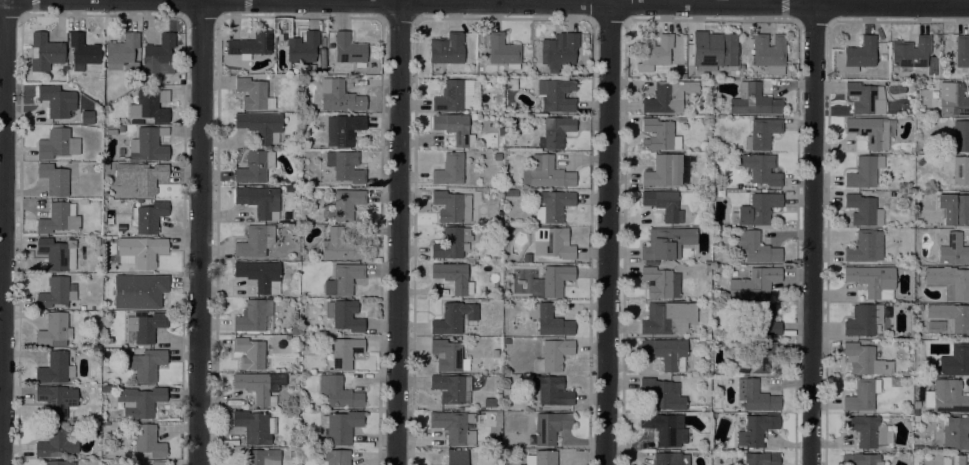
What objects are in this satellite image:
road: (197, 0)
road: (542, 3)
building: (584, 37)
building: (250, 44)
building: (302, 47)
building: (446, 49)
building: (348, 50)
building: (558, 50)
building: (655, 50)
building: (713, 50)
building: (501, 51)
building: (962, 51)
building: (44, 52)
building: (82, 52)
building: (122, 53)
building: (769, 53)
building: (910, 53)
building: (859, 54)
building: (158, 56)
building: (63, 70)
building: (512, 84)
building: (253, 94)
building: (556, 95)
building: (457, 96)
building: (667, 96)
building: (339, 97)
building: (865, 99)
building: (952, 100)
building: (56, 101)
building: (753, 101)
building: (150, 105)
building: (471, 112)
building: (87, 117)
building: (473, 117)
building: (260, 126)
building: (454, 129)
building: (343, 130)
building: (500, 131)
building: (871, 131)
building: (111, 132)
building: (555, 132)
building: (762, 134)
building: (658, 135)
building: (958, 138)
building: (57, 144)
building: (148, 145)
building: (920, 162)
building: (345, 166)
building: (106, 167)
building: (255, 167)
building: (760, 169)
building: (957, 169)
building: (449, 170)
building: (663, 171)
building: (864, 172)
building: (325, 173)
building: (546, 174)
building: (140, 177)
building: (53, 179)
building: (469, 192)
building: (510, 193)
building: (259, 201)
building: (346, 204)
building: (552, 205)
building: (663, 205)
building: (449, 206)
building: (953, 209)
building: (756, 210)
building: (863, 210)
building: (148, 217)
building: (58, 219)
building: (286, 221)
building: (120, 228)
road: (5, 232)
road: (397, 232)
road: (812, 232)
road: (202, 233)
road: (607, 234)
building: (106, 240)
building: (96, 241)
building: (255, 241)
building: (451, 243)
building: (552, 243)
building: (666, 243)
building: (338, 246)
building: (865, 247)
building: (756, 248)
building: (952, 249)
building: (140, 251)
building: (57, 254)
building: (526, 258)
building: (733, 273)
building: (260, 276)
building: (453, 277)
building: (343, 279)
building: (555, 280)
building: (871, 280)
building: (949, 282)
building: (660, 283)
building: (753, 284)
building: (138, 291)
building: (56, 293)
building: (713, 298)
building: (344, 315)
building: (253, 316)
building: (950, 317)
building: (453, 318)
building: (668, 318)
building: (863, 320)
building: (549, 321)
building: (759, 321)
building: (935, 326)
building: (144, 328)
building: (294, 330)
building: (54, 331)
building: (506, 341)
building: (249, 353)
building: (666, 353)
building: (341, 354)
building: (553, 355)
building: (448, 356)
building: (756, 359)
building: (864, 360)
building: (955, 360)
building: (146, 365)
building: (55, 369)
building: (260, 385)
building: (106, 388)
building: (452, 388)
building: (551, 391)
building: (339, 392)
building: (662, 395)
building: (862, 395)
building: (946, 396)
building: (755, 397)
building: (56, 399)
building: (139, 401)
building: (915, 411)
building: (915, 418)
building: (93, 426)
building: (256, 426)
building: (341, 426)
building: (454, 427)
building: (550, 427)
building: (664, 429)
building: (756, 430)
building: (867, 431)
building: (956, 433)
building: (148, 440)
building: (56, 441)
building: (916, 448)
building: (292, 453)
building: (261, 457)
building: (335, 457)
building: (456, 457)
building: (541, 458)
building: (670, 459)
building: (762, 459)
building: (863, 459)
building: (954, 459)
building: (59, 463)
building: (157, 463)

